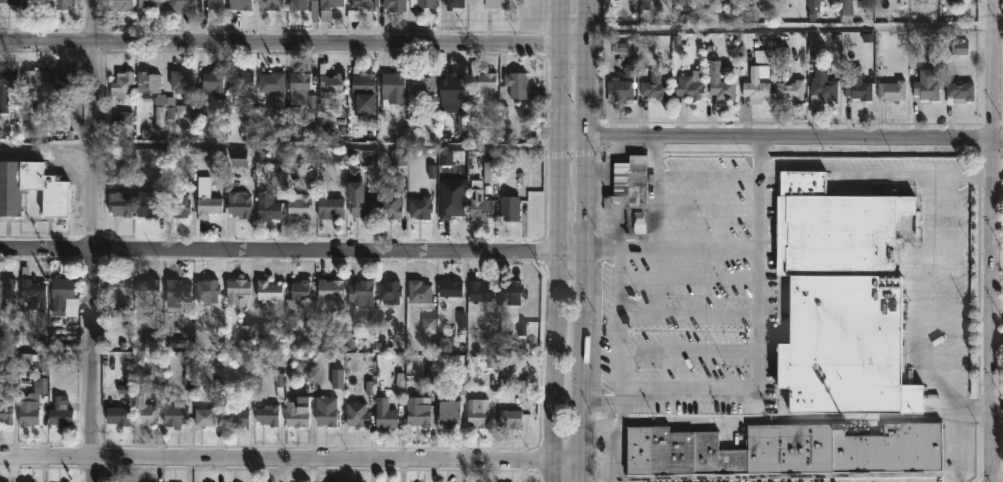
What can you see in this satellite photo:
building: (644, 0)
building: (9, 1)
building: (38, 3)
building: (423, 3)
building: (454, 3)
building: (497, 3)
building: (63, 4)
building: (122, 4)
building: (150, 4)
building: (179, 4)
building: (241, 4)
building: (272, 4)
building: (298, 4)
building: (331, 4)
building: (365, 4)
building: (395, 4)
building: (782, 4)
building: (814, 4)
building: (215, 5)
building: (855, 5)
road: (794, 35)
road: (292, 41)
building: (67, 77)
building: (483, 78)
building: (332, 79)
building: (36, 80)
building: (271, 81)
building: (721, 81)
building: (149, 82)
building: (214, 82)
building: (240, 82)
building: (451, 82)
building: (182, 83)
building: (425, 83)
building: (758, 83)
building: (123, 84)
building: (302, 84)
building: (393, 84)
building: (517, 84)
building: (857, 84)
building: (926, 84)
building: (363, 85)
building: (690, 85)
building: (7, 89)
building: (621, 89)
building: (654, 90)
building: (791, 90)
building: (822, 90)
building: (893, 90)
building: (961, 92)
building: (159, 111)
building: (241, 125)
road: (782, 136)
road: (280, 151)
building: (638, 163)
building: (123, 173)
road: (852, 175)
road: (706, 177)
building: (279, 179)
building: (621, 179)
building: (14, 190)
road: (656, 191)
building: (633, 192)
building: (391, 203)
building: (120, 204)
building: (239, 204)
building: (181, 205)
building: (208, 206)
building: (302, 206)
building: (362, 206)
building: (480, 206)
building: (267, 207)
building: (509, 207)
building: (330, 208)
building: (421, 208)
building: (451, 208)
building: (150, 209)
building: (834, 229)
road: (558, 240)
road: (583, 240)
road: (94, 241)
road: (993, 241)
road: (998, 242)
road: (727, 249)
road: (291, 250)
building: (119, 285)
building: (7, 287)
building: (148, 287)
building: (451, 287)
road: (949, 287)
building: (301, 289)
building: (331, 289)
building: (32, 290)
building: (207, 290)
building: (238, 290)
building: (268, 290)
building: (390, 290)
building: (177, 291)
building: (363, 291)
building: (420, 291)
building: (482, 291)
building: (64, 297)
building: (512, 302)
building: (2, 308)
road: (617, 321)
building: (845, 345)
road: (997, 389)
road: (734, 391)
building: (31, 404)
building: (144, 409)
building: (298, 410)
building: (327, 410)
building: (6, 411)
building: (61, 411)
building: (449, 412)
building: (478, 412)
building: (358, 413)
building: (118, 414)
building: (175, 414)
building: (268, 414)
building: (420, 415)
building: (205, 416)
building: (237, 417)
building: (512, 417)
building: (387, 418)
building: (785, 451)
road: (289, 458)

